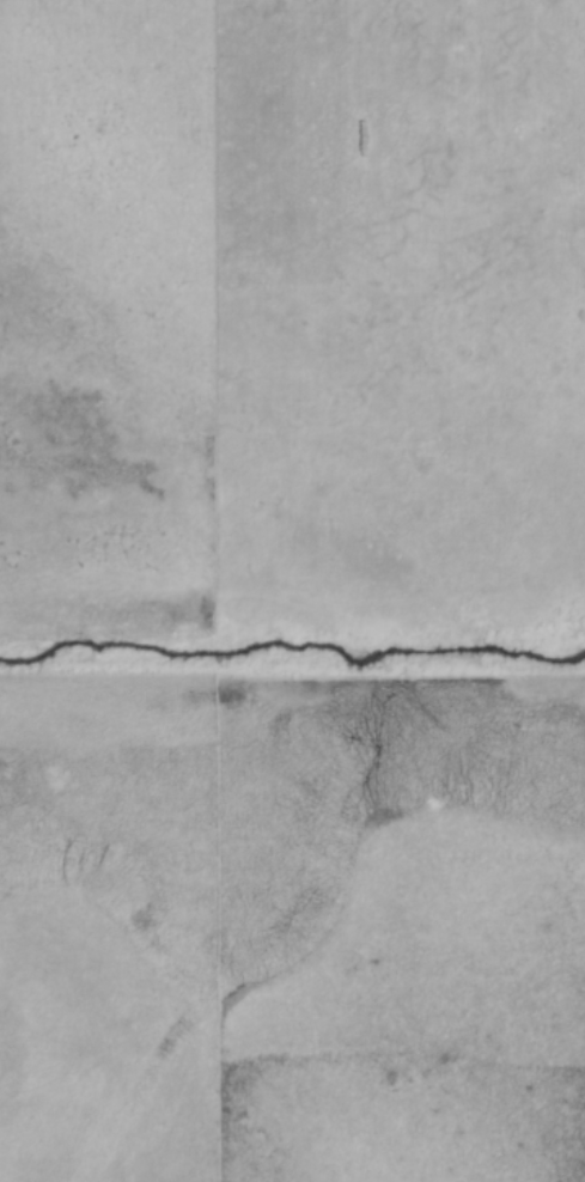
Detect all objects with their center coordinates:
river: (293, 656)

